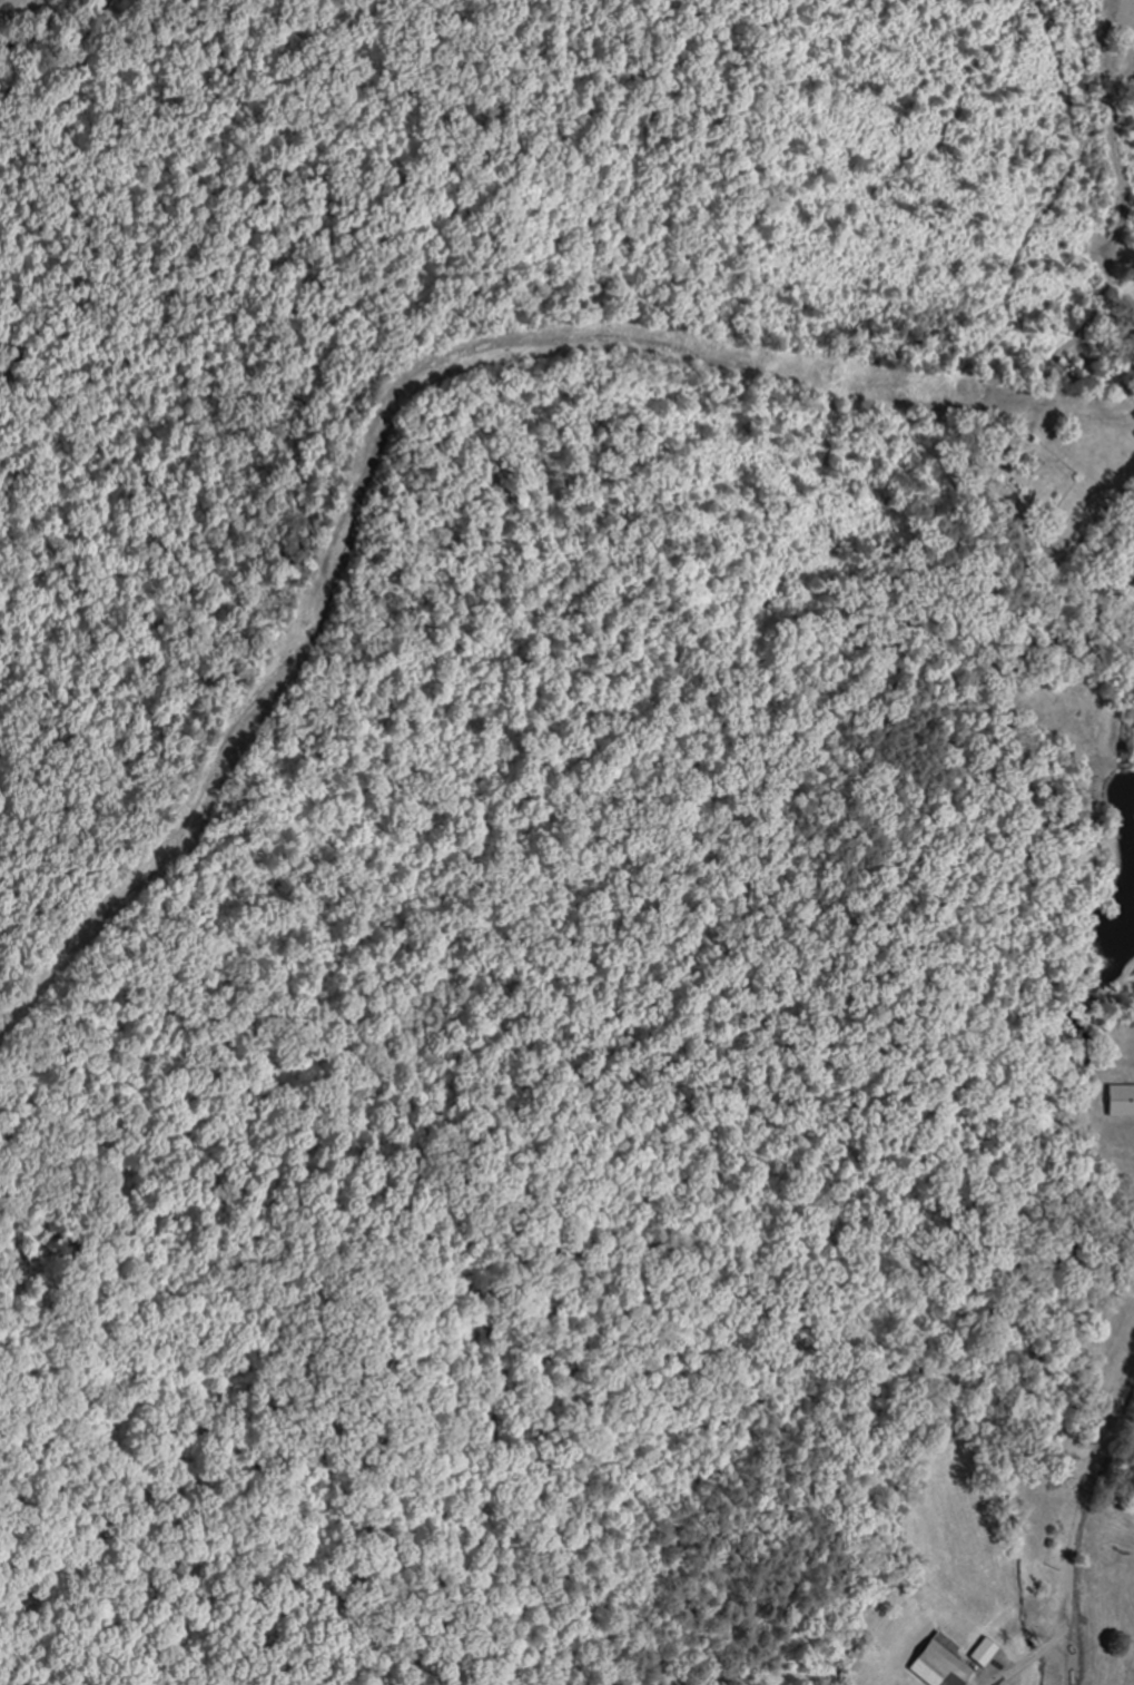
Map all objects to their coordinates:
road: (1125, 240)
building: (1118, 1100)
road: (1077, 1526)
building: (982, 1650)
building: (936, 1665)

